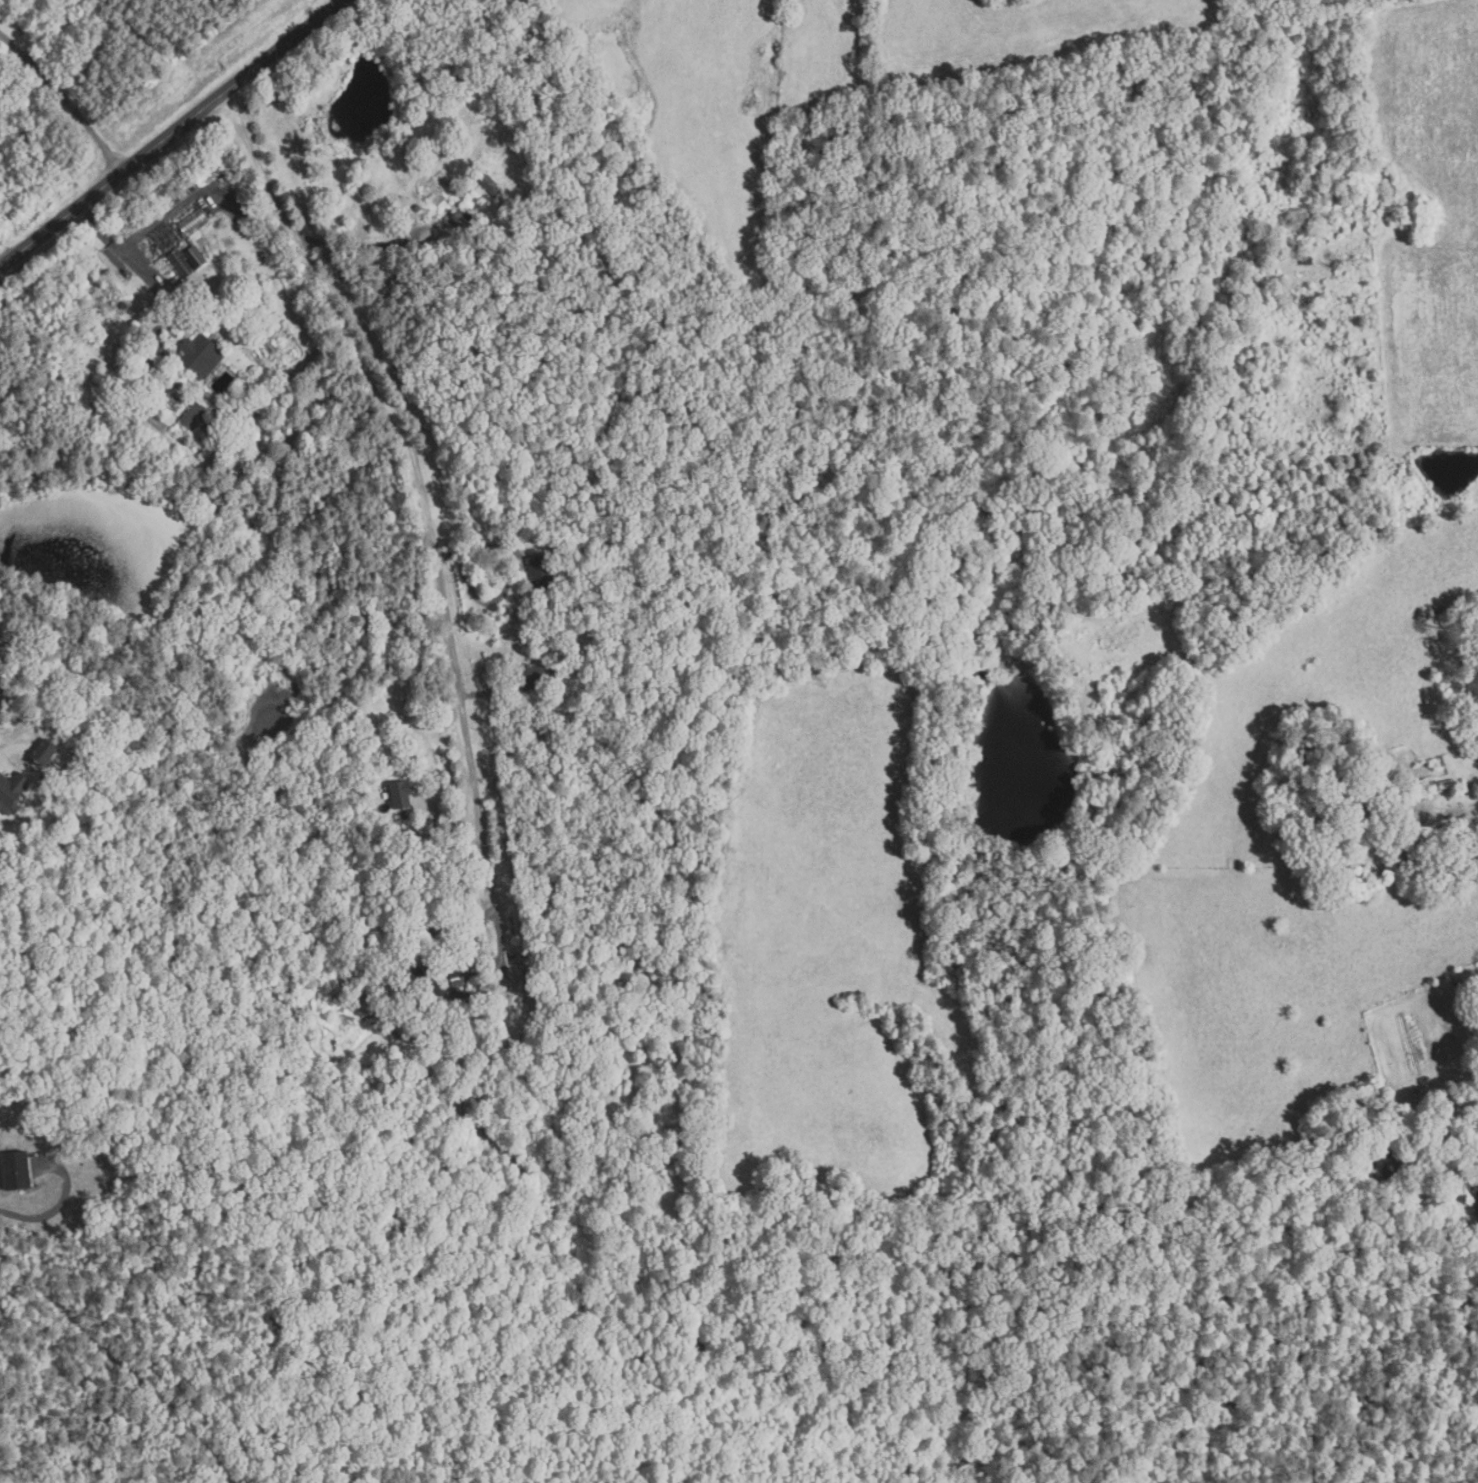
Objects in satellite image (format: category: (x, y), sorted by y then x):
road: (67, 101)
road: (174, 136)
building: (435, 186)
building: (491, 186)
building: (361, 197)
building: (193, 220)
building: (462, 221)
road: (153, 226)
building: (182, 265)
road: (155, 291)
building: (202, 358)
building: (194, 417)
road: (430, 513)
building: (556, 521)
building: (543, 573)
building: (538, 675)
building: (2, 692)
river: (1025, 752)
building: (1445, 784)
building: (1466, 785)
building: (1435, 786)
building: (12, 793)
building: (404, 795)
building: (1440, 797)
building: (1467, 826)
building: (410, 837)
building: (1397, 848)
building: (1428, 848)
building: (403, 860)
building: (457, 975)
building: (431, 981)
building: (459, 999)
building: (477, 1007)
building: (1390, 1160)
building: (14, 1166)
building: (1474, 1184)

